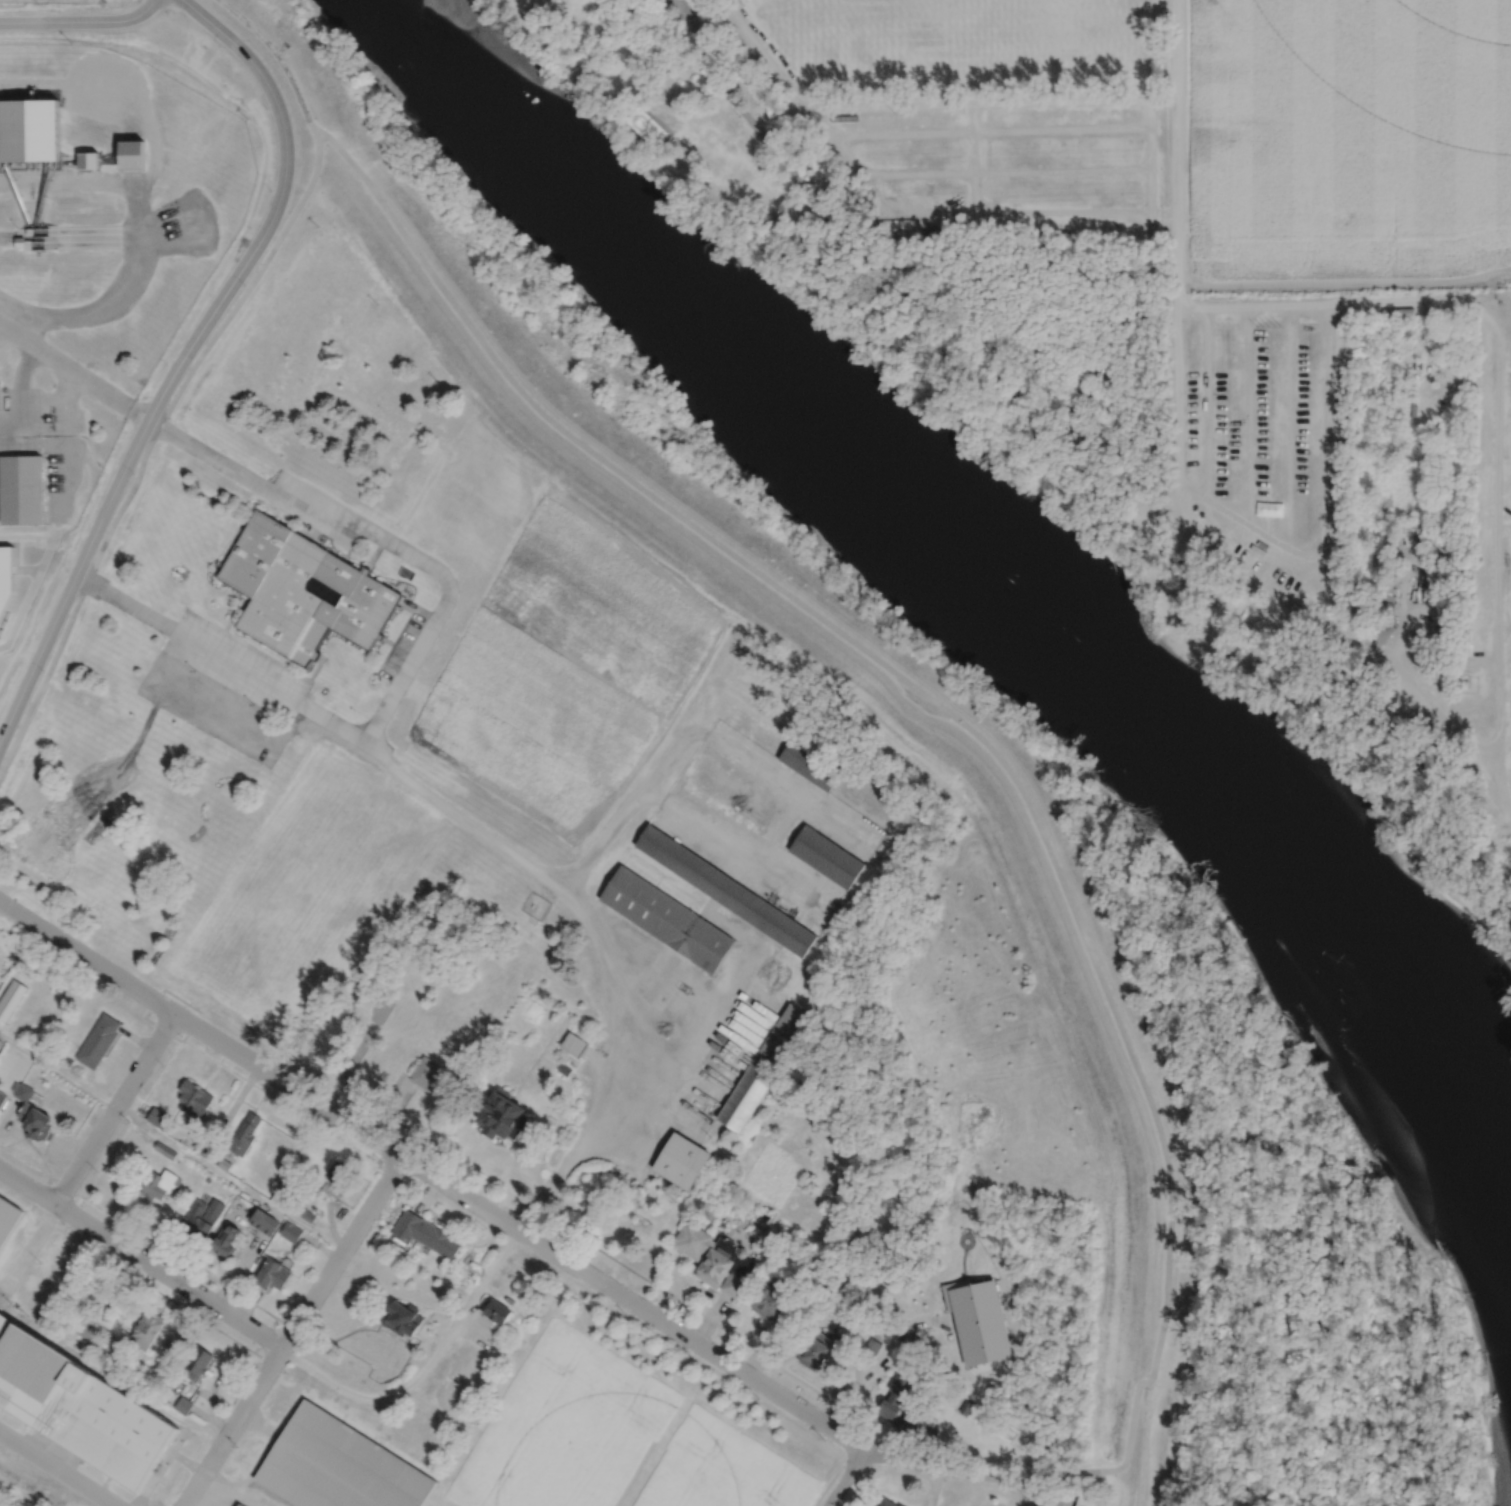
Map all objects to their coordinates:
road: (80, 20)
road: (1176, 49)
building: (36, 51)
building: (59, 51)
road: (280, 59)
building: (844, 117)
building: (28, 129)
road: (988, 131)
building: (132, 153)
road: (990, 156)
building: (88, 159)
road: (1004, 170)
road: (148, 184)
road: (1007, 211)
building: (769, 217)
building: (30, 231)
building: (19, 241)
building: (28, 245)
road: (1151, 273)
road: (1176, 282)
road: (1, 324)
road: (183, 358)
road: (73, 370)
building: (1078, 374)
road: (19, 395)
building: (2, 397)
road: (1497, 401)
road: (1206, 404)
road: (1249, 416)
road: (1288, 426)
road: (62, 442)
road: (148, 446)
building: (20, 491)
parking lot: (316, 508)
road: (1326, 512)
road: (379, 535)
building: (5, 572)
river: (967, 575)
building: (302, 591)
building: (1382, 607)
road: (1409, 623)
building: (1440, 630)
building: (1382, 631)
parking lot: (402, 647)
road: (232, 663)
parking lot: (225, 689)
road: (926, 696)
road: (697, 730)
building: (810, 764)
park: (123, 800)
building: (772, 820)
road: (737, 849)
building: (725, 890)
building: (667, 919)
road: (603, 958)
road: (660, 971)
building: (386, 992)
building: (11, 999)
road: (200, 1029)
building: (742, 1039)
road: (181, 1040)
road: (702, 1040)
building: (98, 1042)
building: (575, 1046)
building: (68, 1062)
building: (763, 1068)
building: (564, 1070)
building: (431, 1078)
building: (0, 1082)
building: (3, 1088)
building: (22, 1091)
building: (2, 1099)
building: (195, 1100)
road: (114, 1108)
road: (299, 1113)
building: (157, 1117)
building: (502, 1118)
road: (134, 1119)
building: (34, 1122)
building: (165, 1127)
building: (245, 1135)
road: (170, 1142)
building: (165, 1151)
road: (25, 1160)
building: (681, 1162)
building: (225, 1165)
building: (338, 1174)
building: (208, 1179)
building: (160, 1186)
road: (107, 1212)
road: (73, 1214)
building: (8, 1218)
building: (262, 1221)
building: (199, 1223)
building: (291, 1231)
building: (425, 1236)
building: (225, 1239)
building: (693, 1243)
road: (589, 1244)
road: (27, 1250)
road: (141, 1258)
building: (813, 1267)
building: (725, 1268)
building: (273, 1273)
road: (116, 1289)
building: (878, 1295)
building: (774, 1299)
building: (499, 1310)
building: (404, 1317)
building: (147, 1328)
building: (90, 1331)
road: (292, 1331)
building: (817, 1347)
road: (706, 1351)
building: (198, 1362)
road: (877, 1362)
road: (424, 1369)
road: (111, 1372)
road: (217, 1381)
building: (895, 1396)
building: (81, 1403)
building: (184, 1404)
building: (966, 1406)
building: (918, 1420)
building: (462, 1431)
crop: (615, 1440)
building: (339, 1465)
road: (57, 1468)
road: (1072, 1472)
road: (845, 1478)
railway: (24, 1491)
road: (232, 1492)
building: (1087, 1500)
road: (191, 1502)
building: (889, 1502)
building: (241, 1504)
building: (234, 1505)

